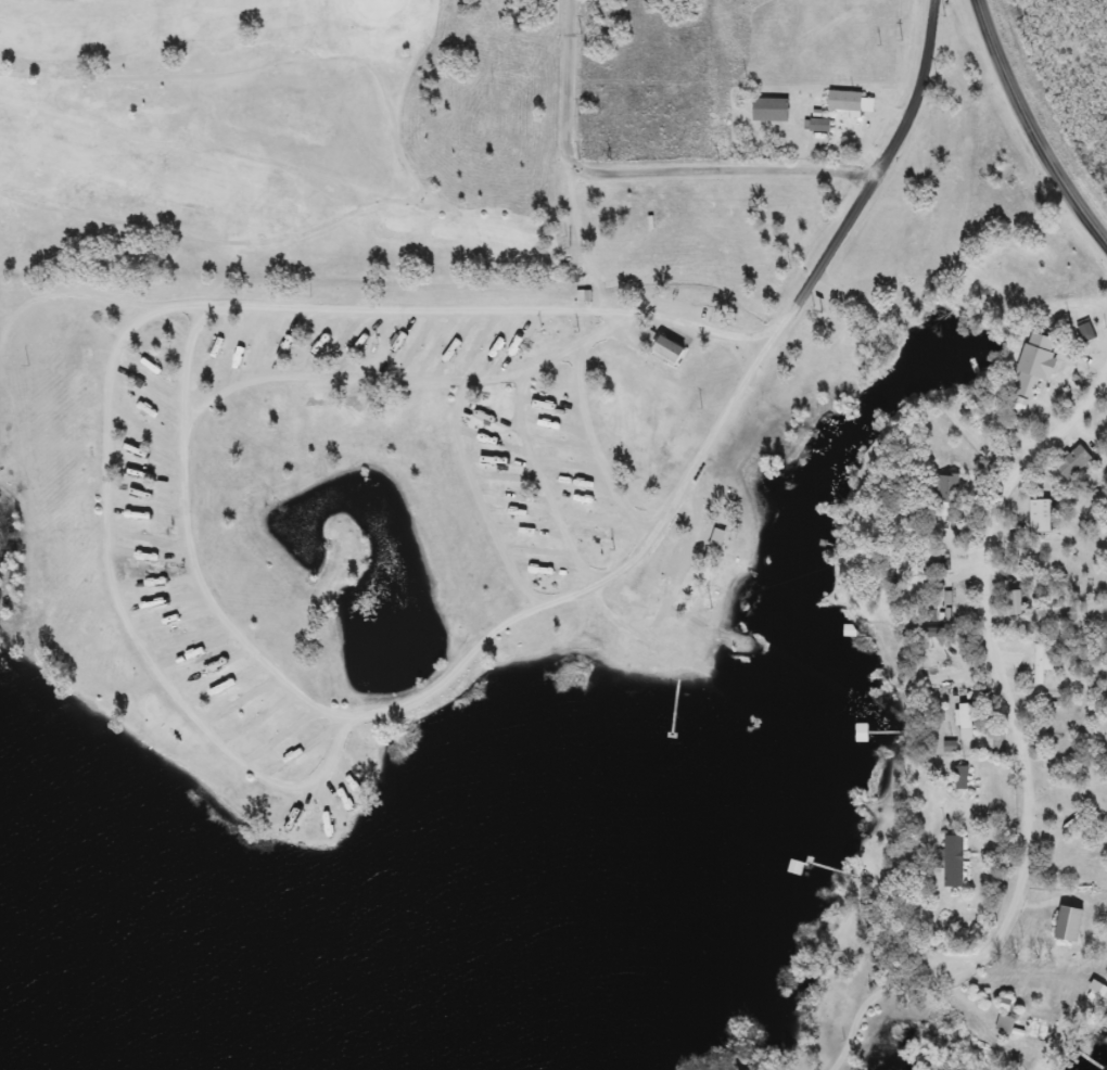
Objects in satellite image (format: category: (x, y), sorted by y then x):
building: (853, 103)
building: (823, 126)
road: (1032, 126)
road: (642, 164)
road: (874, 173)
building: (673, 351)
building: (1030, 384)
building: (1077, 462)
building: (947, 487)
building: (1044, 515)
building: (1018, 602)
road: (126, 613)
building: (1046, 662)
building: (968, 721)
building: (964, 778)
building: (1082, 795)
building: (957, 862)
building: (799, 867)
building: (1072, 925)
building: (1100, 989)
building: (1023, 1027)

